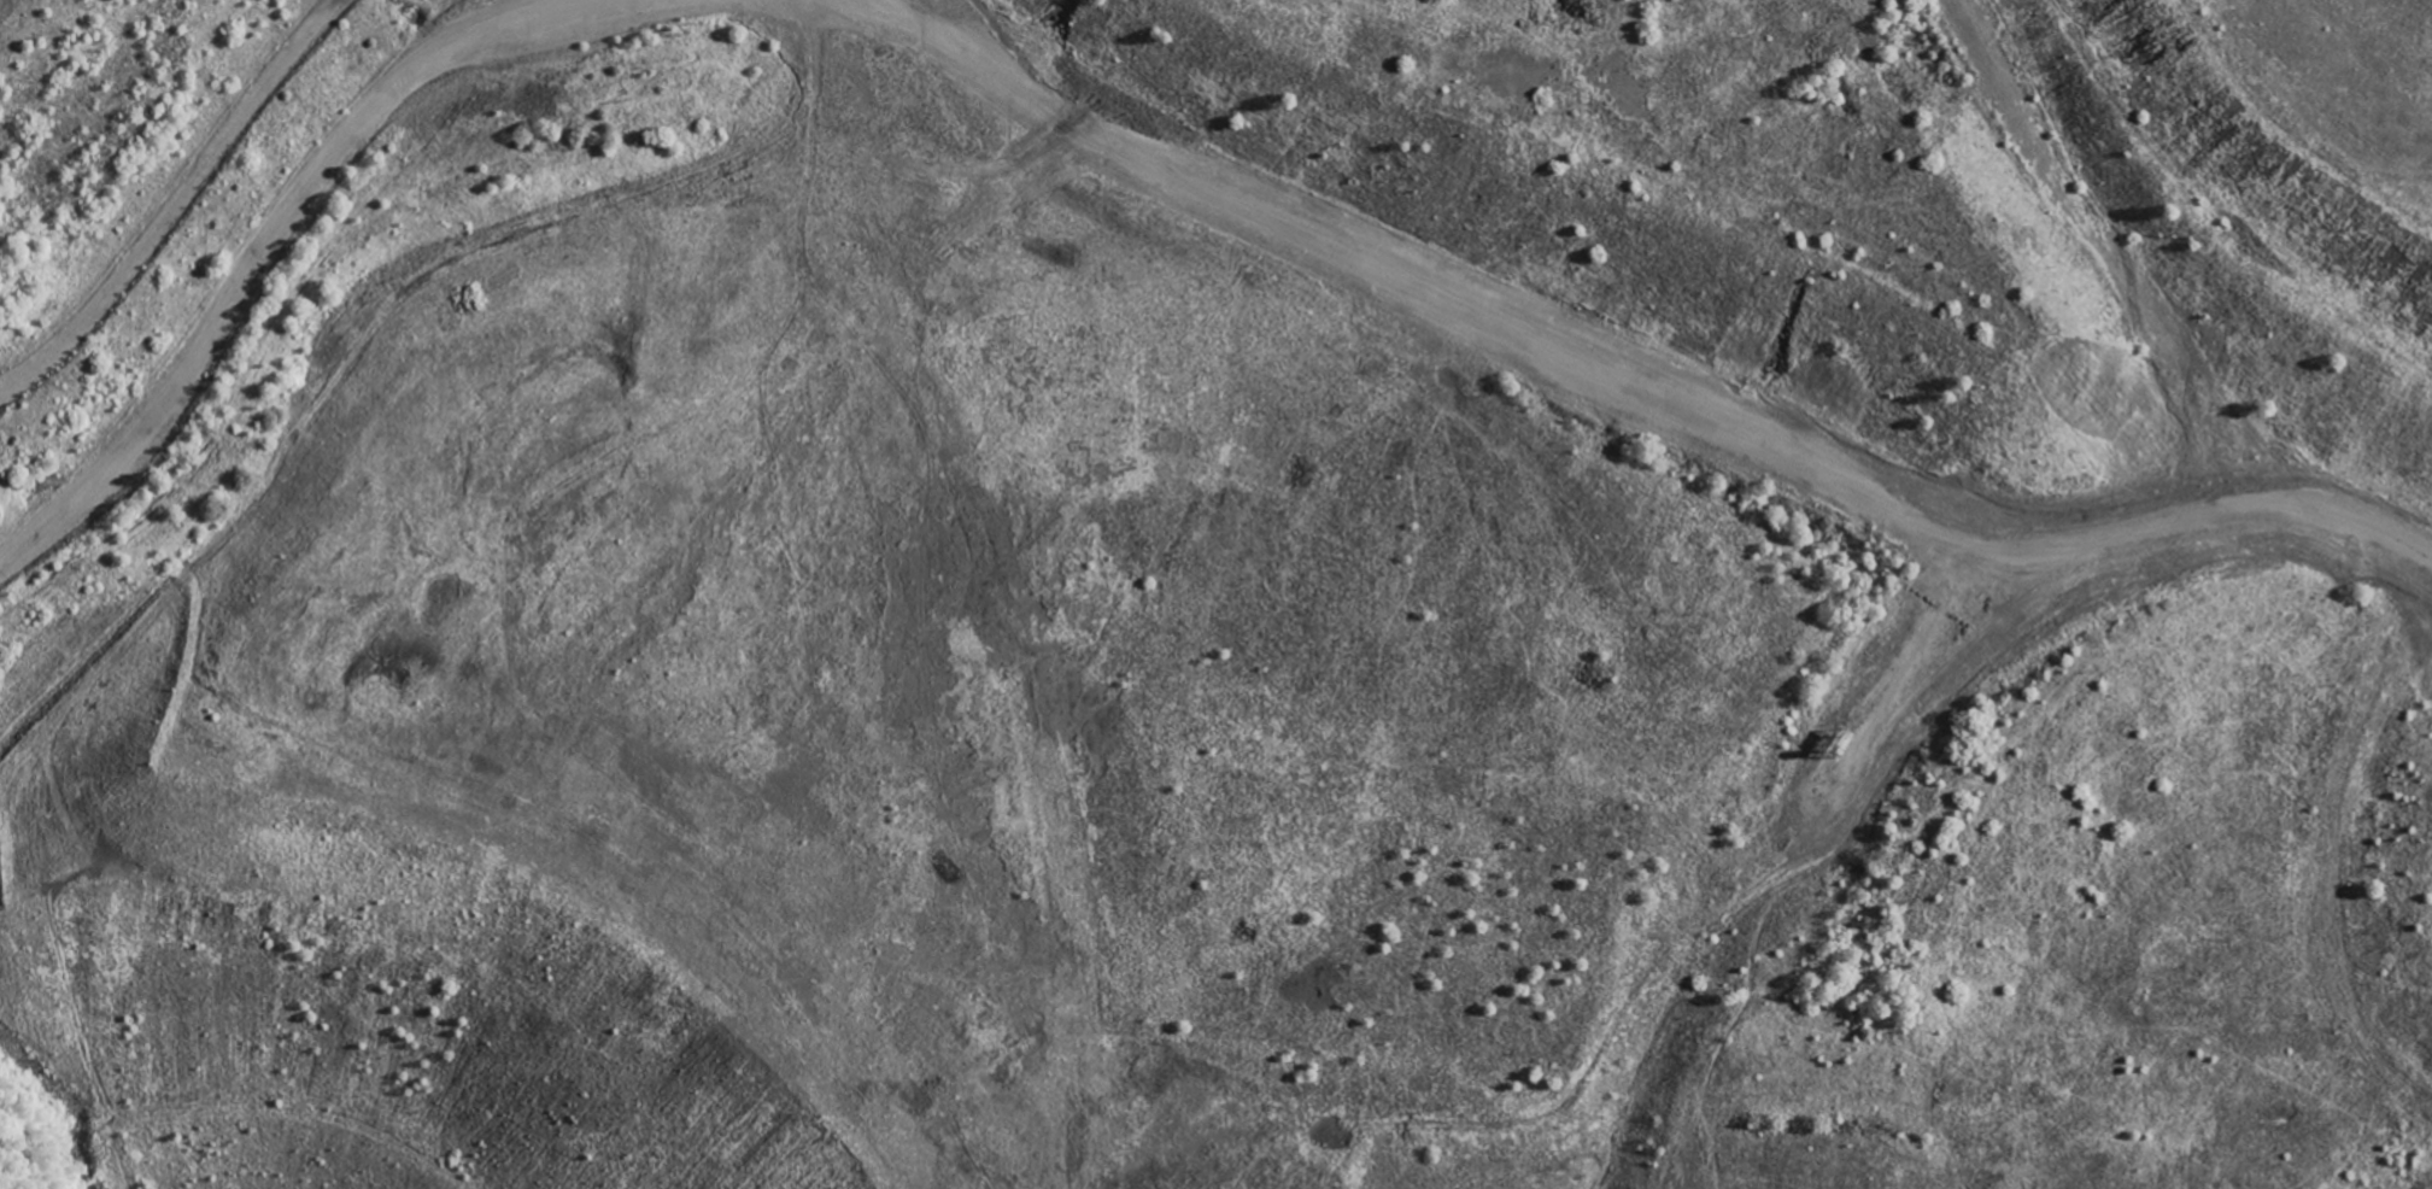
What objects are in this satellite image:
road: (286, 234)
road: (1536, 409)
quarry: (912, 468)
road: (1791, 865)

